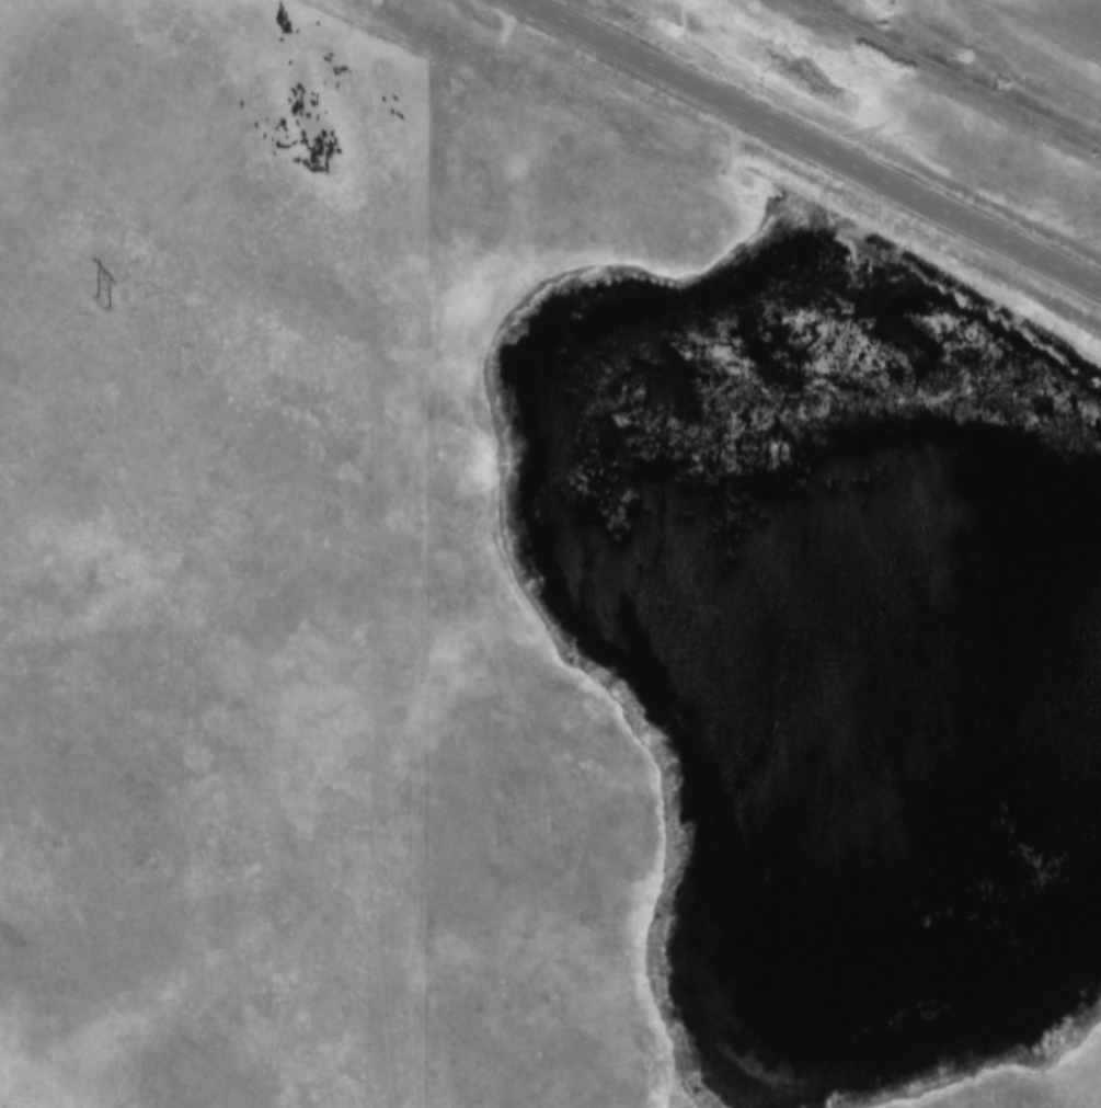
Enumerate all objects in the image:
road: (816, 141)
power tower: (107, 300)

